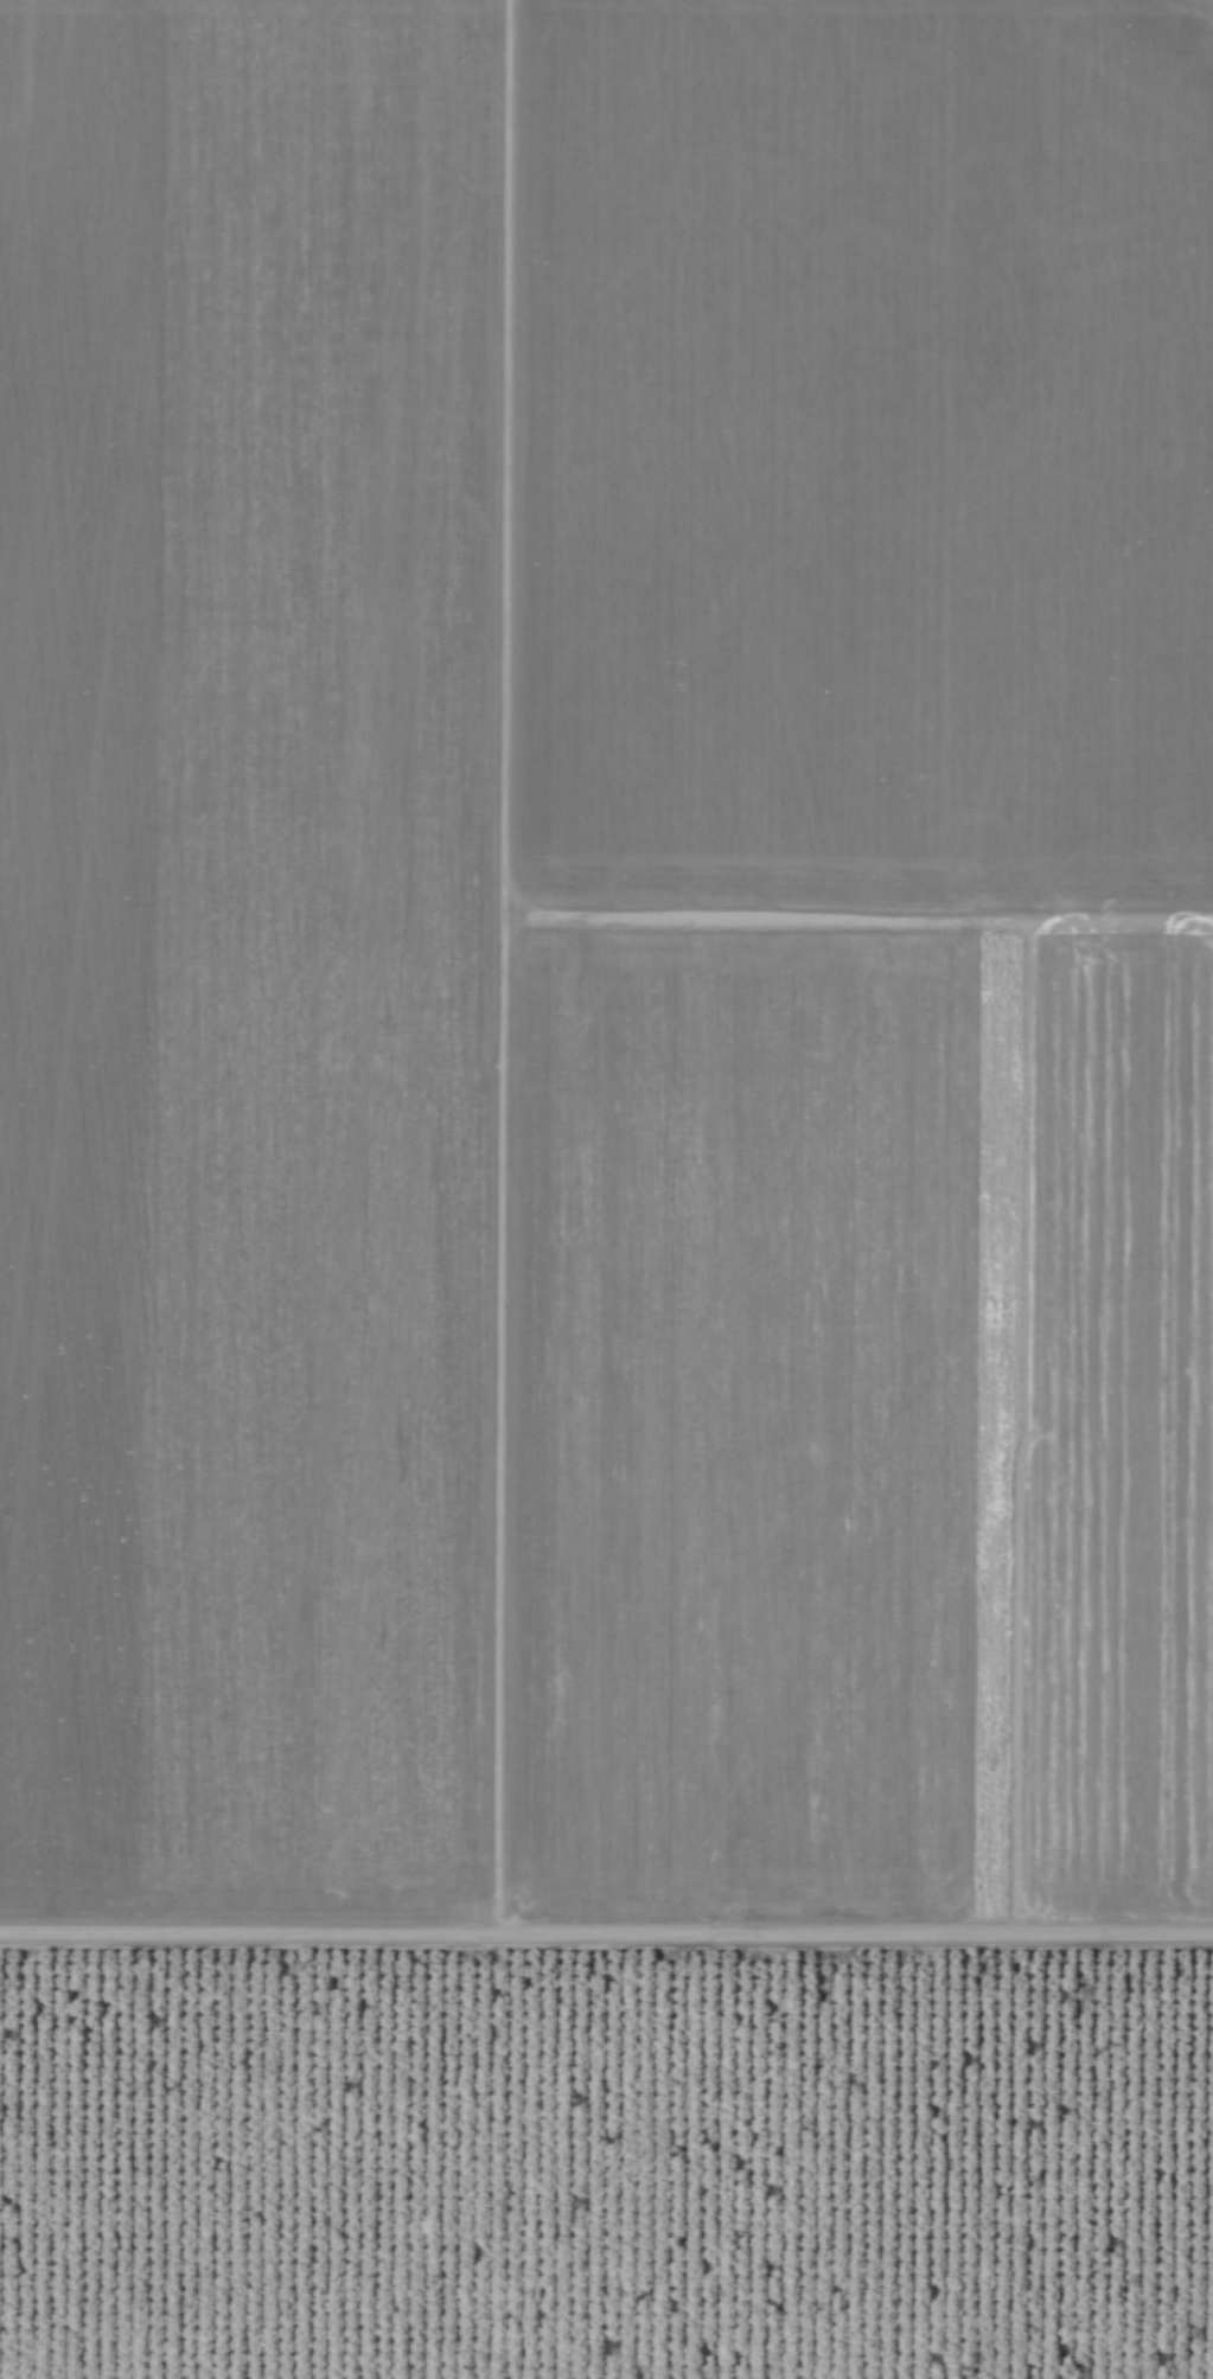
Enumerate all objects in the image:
crop: (606, 1189)
road: (606, 1962)

